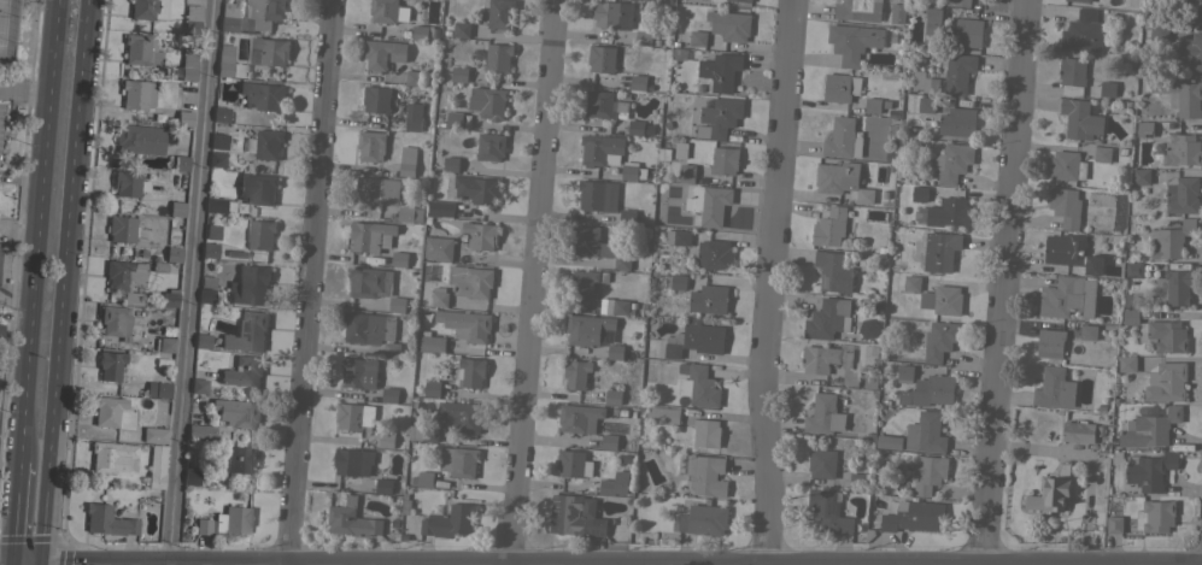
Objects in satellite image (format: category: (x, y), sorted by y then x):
building: (643, 0)
building: (741, 0)
building: (1080, 0)
building: (957, 2)
building: (147, 8)
building: (383, 10)
building: (857, 10)
building: (1192, 10)
building: (499, 13)
building: (612, 13)
building: (897, 13)
building: (253, 14)
park: (2, 18)
building: (192, 20)
building: (933, 20)
building: (728, 25)
building: (461, 29)
building: (1157, 30)
building: (1083, 31)
building: (420, 33)
building: (968, 33)
building: (643, 34)
park: (16, 37)
building: (697, 37)
building: (852, 41)
road: (31, 46)
building: (271, 49)
building: (1189, 49)
building: (140, 51)
building: (382, 53)
building: (497, 58)
building: (600, 59)
building: (228, 63)
building: (186, 65)
building: (720, 70)
building: (957, 72)
building: (458, 73)
building: (1072, 76)
building: (414, 77)
building: (638, 82)
building: (926, 84)
building: (839, 87)
building: (1107, 88)
road: (24, 89)
building: (1178, 93)
building: (136, 94)
building: (264, 95)
building: (375, 99)
building: (487, 101)
building: (603, 104)
building: (926, 104)
building: (872, 105)
building: (219, 114)
building: (412, 116)
building: (719, 117)
building: (183, 118)
building: (453, 118)
building: (1081, 120)
building: (957, 122)
building: (639, 128)
building: (1144, 129)
building: (139, 139)
building: (842, 139)
building: (218, 141)
building: (264, 143)
building: (370, 145)
building: (489, 146)
building: (600, 149)
building: (680, 149)
building: (1182, 151)
building: (1102, 153)
building: (216, 159)
building: (406, 160)
building: (723, 160)
building: (180, 163)
building: (952, 163)
building: (450, 164)
building: (1067, 165)
building: (632, 172)
building: (686, 173)
building: (1141, 176)
building: (842, 179)
building: (128, 183)
building: (257, 188)
building: (474, 189)
building: (377, 190)
building: (919, 193)
building: (597, 194)
building: (1182, 194)
building: (710, 204)
building: (218, 205)
building: (1065, 206)
building: (440, 207)
building: (176, 208)
building: (944, 212)
building: (407, 214)
building: (626, 217)
building: (829, 226)
road: (36, 229)
building: (121, 229)
building: (259, 234)
building: (370, 235)
building: (481, 235)
building: (678, 236)
building: (1169, 239)
building: (590, 241)
building: (438, 248)
building: (209, 249)
building: (940, 251)
building: (172, 253)
building: (1072, 253)
building: (714, 254)
building: (399, 258)
building: (622, 261)
road: (17, 266)
building: (1134, 269)
building: (833, 271)
building: (124, 278)
road: (61, 281)
building: (365, 281)
building: (470, 281)
road: (193, 282)
road: (311, 282)
road: (538, 282)
road: (769, 282)
building: (911, 282)
road: (1003, 283)
building: (248, 284)
building: (584, 284)
building: (1174, 284)
building: (206, 289)
building: (697, 294)
building: (1067, 296)
building: (169, 298)
building: (439, 298)
building: (942, 299)
building: (397, 304)
building: (620, 306)
building: (827, 318)
building: (113, 322)
building: (465, 324)
building: (368, 326)
building: (0, 328)
building: (587, 328)
building: (246, 331)
building: (1087, 331)
building: (1157, 331)
building: (694, 339)
building: (939, 340)
building: (200, 341)
building: (430, 341)
building: (1049, 342)
building: (164, 345)
building: (391, 349)
building: (615, 352)
building: (828, 361)
building: (1126, 363)
building: (110, 364)
building: (242, 371)
building: (358, 372)
building: (469, 372)
building: (576, 373)
building: (904, 373)
building: (1166, 381)
building: (198, 386)
building: (699, 386)
building: (432, 388)
building: (1054, 388)
building: (157, 389)
building: (928, 390)
building: (389, 394)
building: (612, 396)
building: (112, 412)
building: (236, 412)
building: (659, 414)
building: (823, 414)
building: (354, 416)
building: (459, 416)
building: (579, 417)
building: (1149, 428)
building: (200, 431)
building: (1078, 431)
building: (422, 432)
building: (705, 432)
building: (925, 432)
building: (154, 435)
building: (386, 440)
building: (610, 441)
building: (889, 441)
building: (111, 455)
building: (234, 459)
building: (458, 460)
building: (353, 461)
building: (822, 463)
building: (573, 464)
building: (156, 466)
building: (1148, 470)
building: (928, 473)
building: (706, 475)
building: (190, 476)
building: (423, 478)
building: (857, 481)
building: (615, 483)
building: (382, 485)
building: (1049, 495)
road: (13, 511)
building: (828, 511)
building: (575, 516)
building: (1155, 516)
building: (915, 517)
building: (351, 519)
building: (704, 519)
building: (106, 520)
building: (450, 520)
building: (225, 522)
building: (1114, 524)
traffic signals: (10, 563)
road: (24, 563)
traffic signals: (39, 563)
road: (124, 563)
road: (8, 564)
road: (37, 564)

